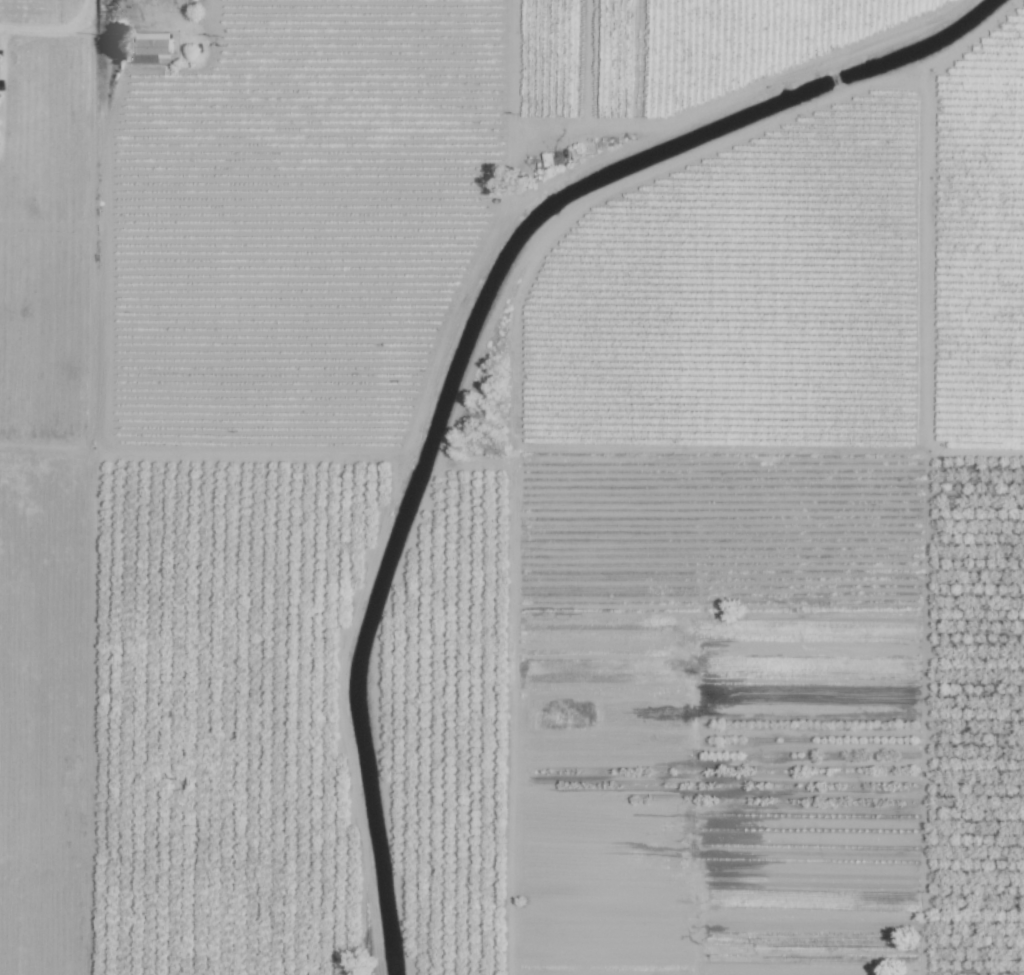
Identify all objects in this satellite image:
road: (53, 28)
building: (152, 47)

